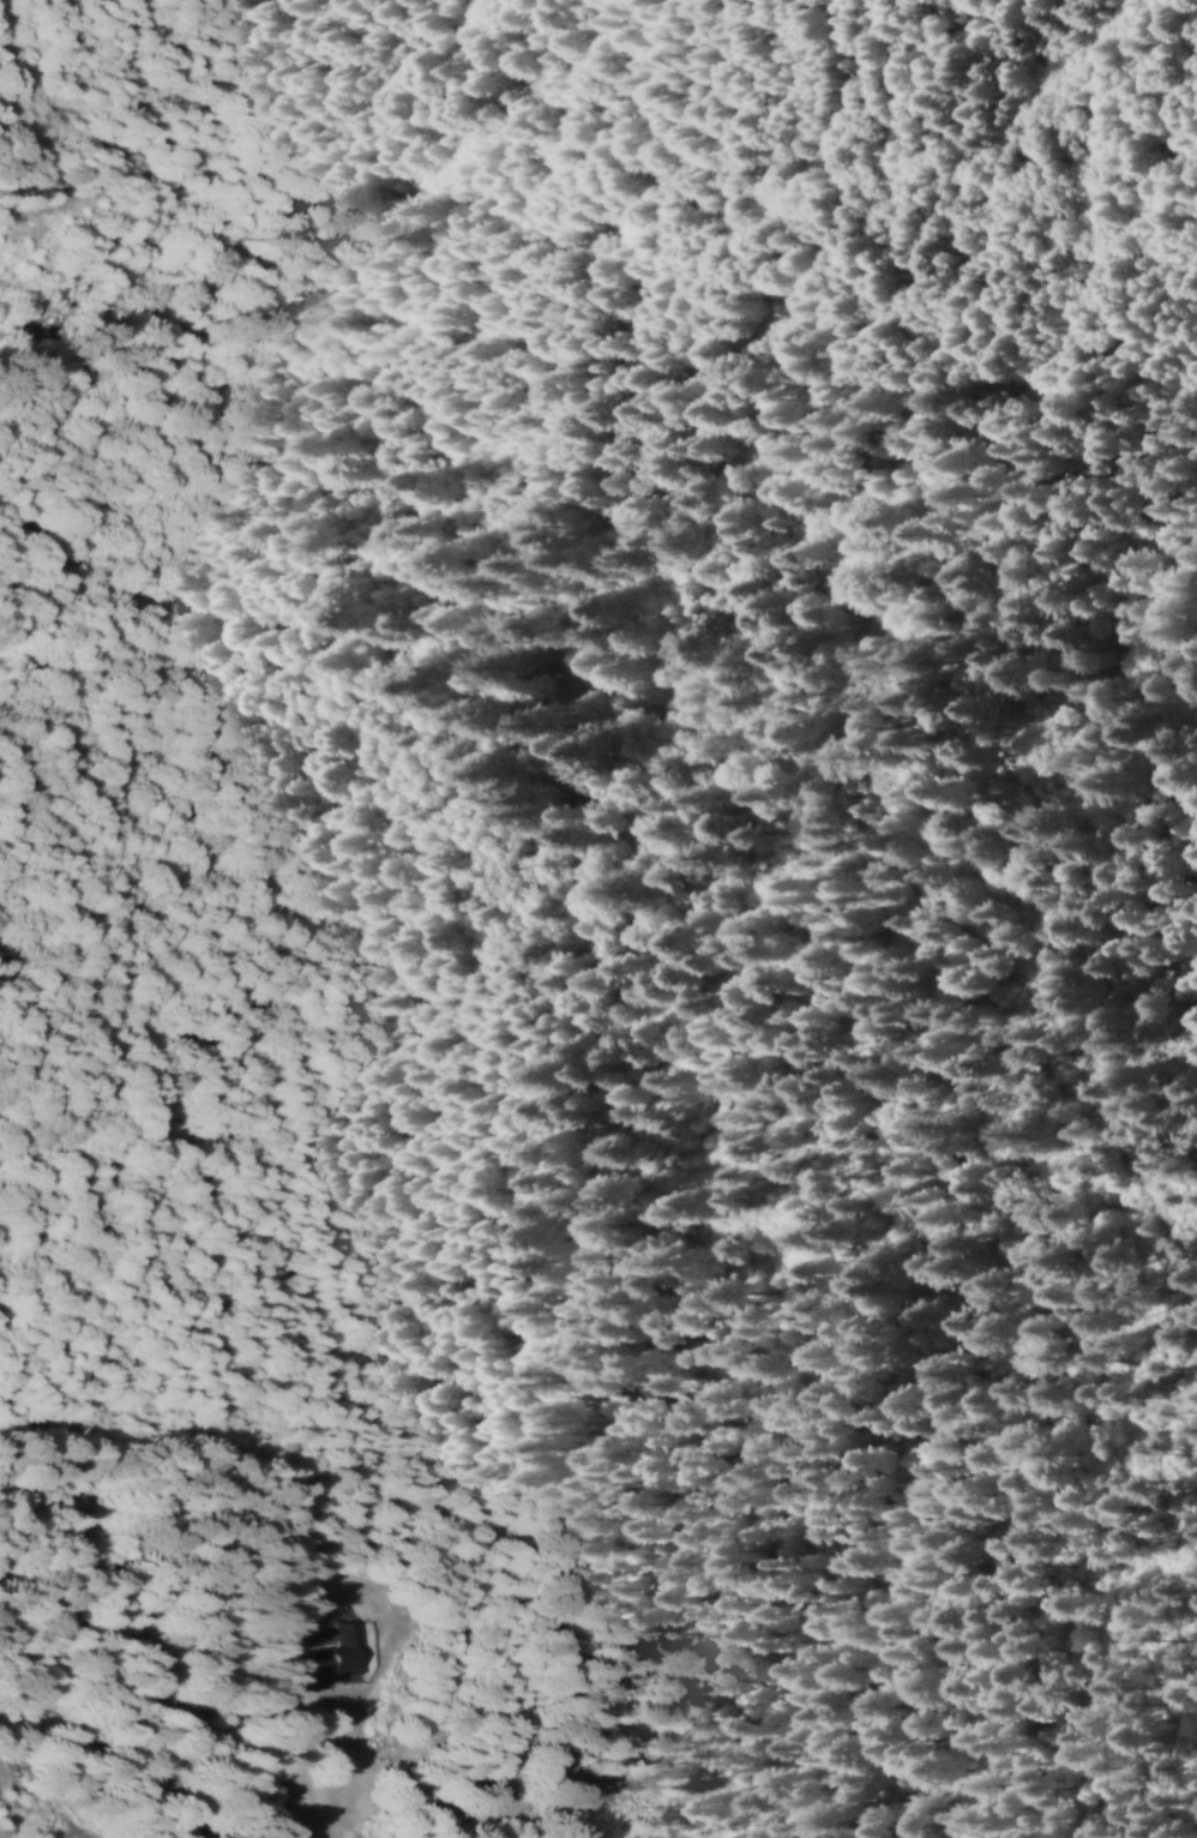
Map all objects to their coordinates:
road: (28, 1741)

